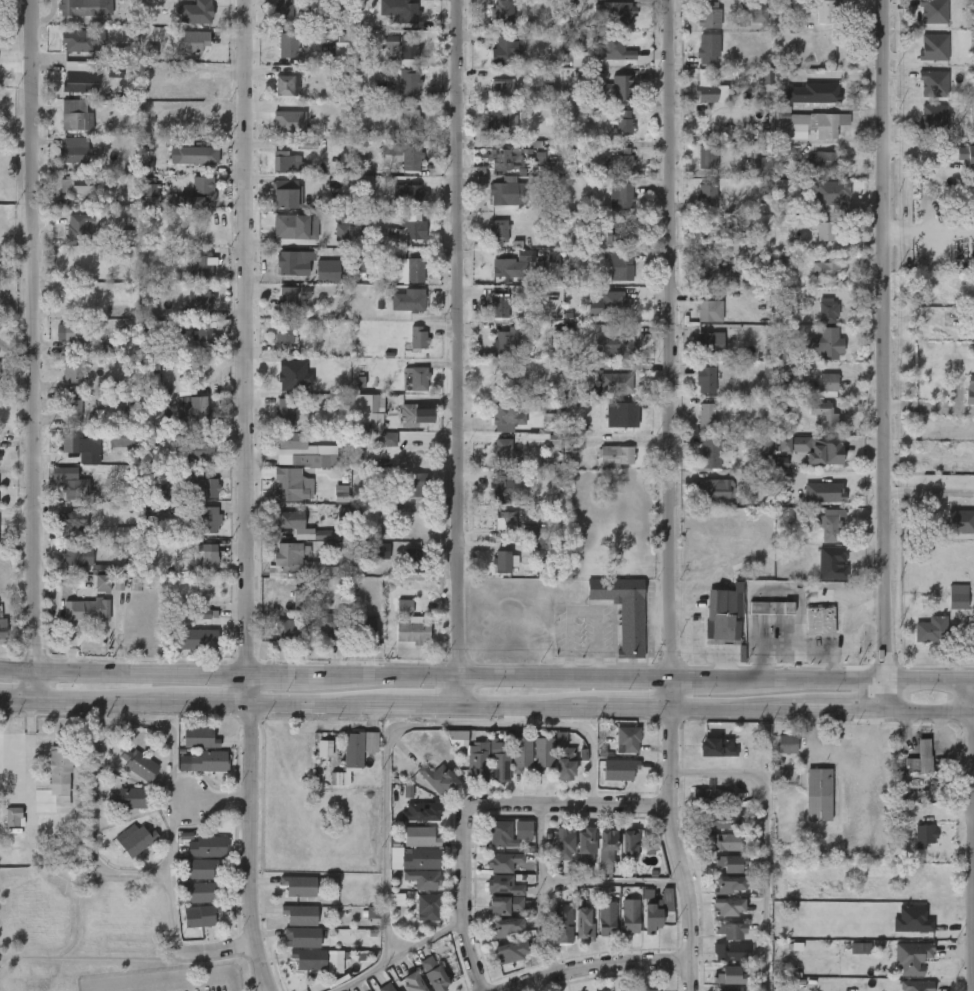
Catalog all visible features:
building: (78, 8)
building: (284, 9)
building: (402, 10)
building: (616, 11)
building: (824, 11)
building: (936, 11)
building: (760, 12)
building: (500, 13)
building: (706, 15)
building: (342, 37)
building: (80, 40)
building: (191, 41)
building: (390, 41)
building: (287, 46)
building: (617, 47)
building: (707, 47)
building: (936, 47)
building: (150, 50)
building: (406, 51)
building: (503, 51)
building: (340, 52)
building: (120, 54)
building: (80, 82)
building: (935, 83)
building: (201, 84)
building: (288, 85)
building: (407, 85)
building: (623, 85)
building: (500, 88)
building: (709, 90)
building: (766, 90)
building: (812, 94)
building: (74, 114)
building: (936, 118)
building: (409, 121)
building: (289, 122)
building: (500, 124)
building: (624, 124)
building: (812, 125)
building: (307, 145)
building: (403, 153)
building: (73, 154)
building: (195, 156)
building: (966, 156)
building: (504, 157)
building: (706, 157)
building: (761, 159)
building: (624, 160)
building: (826, 160)
building: (282, 161)
building: (360, 182)
building: (83, 190)
building: (506, 191)
building: (149, 192)
building: (283, 193)
building: (830, 193)
building: (404, 194)
building: (197, 195)
building: (623, 196)
building: (707, 197)
building: (78, 227)
building: (286, 227)
building: (580, 227)
building: (411, 230)
building: (498, 230)
building: (826, 231)
road: (928, 232)
building: (341, 234)
building: (616, 235)
building: (127, 237)
building: (82, 256)
building: (525, 256)
building: (291, 265)
building: (201, 266)
building: (502, 266)
building: (622, 267)
building: (415, 270)
building: (826, 270)
building: (328, 271)
building: (714, 272)
building: (285, 299)
building: (406, 300)
building: (197, 302)
building: (613, 303)
building: (499, 305)
building: (703, 309)
building: (828, 310)
building: (80, 332)
building: (285, 333)
building: (204, 334)
building: (415, 337)
road: (251, 338)
road: (881, 339)
road: (672, 340)
building: (509, 341)
building: (704, 342)
building: (823, 344)
building: (615, 347)
road: (37, 354)
road: (462, 357)
building: (77, 369)
building: (791, 369)
building: (294, 376)
building: (702, 378)
building: (414, 379)
building: (829, 382)
building: (621, 383)
building: (970, 392)
building: (202, 406)
road: (927, 409)
building: (74, 410)
building: (285, 413)
building: (626, 413)
building: (416, 416)
building: (707, 416)
building: (504, 417)
building: (554, 418)
building: (367, 421)
building: (830, 422)
building: (154, 437)
building: (121, 438)
building: (387, 440)
building: (542, 440)
building: (287, 441)
building: (82, 443)
building: (815, 449)
building: (201, 451)
building: (503, 452)
building: (713, 452)
building: (764, 452)
building: (417, 454)
building: (616, 457)
building: (310, 462)
building: (414, 485)
building: (286, 488)
building: (77, 489)
building: (503, 489)
building: (716, 489)
building: (201, 492)
building: (167, 493)
building: (823, 493)
road: (927, 493)
building: (340, 494)
building: (77, 519)
building: (207, 519)
building: (287, 520)
building: (506, 520)
building: (831, 523)
building: (197, 532)
building: (277, 533)
building: (493, 533)
building: (63, 534)
building: (951, 536)
building: (818, 538)
building: (517, 546)
building: (311, 548)
building: (79, 557)
building: (289, 557)
building: (209, 558)
building: (412, 561)
building: (369, 564)
building: (65, 569)
building: (196, 570)
building: (277, 570)
building: (402, 574)
building: (493, 574)
building: (819, 576)
building: (90, 596)
building: (819, 596)
building: (959, 597)
building: (768, 607)
building: (945, 607)
building: (808, 609)
building: (96, 610)
building: (624, 611)
building: (391, 620)
building: (758, 621)
building: (818, 621)
building: (74, 623)
building: (721, 623)
building: (611, 624)
building: (325, 625)
building: (359, 626)
building: (3, 627)
building: (190, 627)
building: (932, 630)
building: (287, 631)
building: (414, 632)
building: (807, 635)
building: (196, 639)
building: (314, 639)
building: (274, 642)
building: (919, 643)
building: (401, 645)
building: (186, 652)
road: (125, 674)
road: (274, 677)
road: (479, 677)
road: (797, 679)
road: (687, 680)
road: (924, 680)
road: (971, 681)
road: (250, 694)
road: (881, 697)
road: (660, 698)
road: (968, 699)
road: (18, 705)
road: (97, 708)
road: (204, 710)
road: (313, 711)
road: (418, 713)
road: (520, 714)
road: (621, 715)
road: (971, 715)
road: (771, 716)
road: (925, 716)
road: (416, 726)
road: (33, 728)
building: (199, 737)
building: (626, 739)
building: (787, 743)
building: (355, 748)
building: (714, 748)
building: (188, 751)
road: (840, 751)
building: (614, 752)
building: (521, 753)
building: (543, 753)
building: (564, 757)
building: (773, 757)
building: (921, 758)
building: (210, 760)
building: (311, 761)
building: (476, 761)
building: (704, 761)
building: (497, 762)
building: (140, 764)
building: (57, 767)
building: (508, 767)
building: (529, 767)
building: (342, 768)
building: (620, 769)
building: (551, 772)
building: (907, 772)
building: (196, 774)
building: (486, 774)
building: (465, 775)
building: (125, 776)
building: (436, 778)
building: (47, 779)
building: (607, 782)
building: (768, 787)
road: (161, 788)
building: (426, 792)
building: (819, 794)
building: (128, 797)
building: (709, 797)
road: (861, 798)
road: (218, 801)
building: (806, 807)
building: (693, 809)
building: (414, 810)
building: (115, 811)
building: (49, 814)
road: (469, 814)
building: (720, 819)
building: (407, 825)
building: (923, 831)
building: (500, 832)
building: (710, 833)
road: (970, 835)
building: (417, 837)
building: (135, 839)
building: (724, 841)
building: (510, 843)
building: (559, 844)
building: (583, 845)
building: (626, 845)
road: (753, 845)
building: (208, 846)
building: (605, 846)
building: (488, 847)
building: (911, 848)
building: (407, 849)
building: (122, 852)
road: (253, 852)
road: (666, 853)
building: (710, 855)
building: (551, 856)
building: (617, 858)
building: (415, 859)
building: (573, 860)
building: (594, 860)
building: (504, 861)
building: (727, 864)
building: (199, 868)
building: (406, 871)
building: (490, 874)
building: (719, 876)
building: (420, 879)
road: (87, 882)
building: (188, 882)
building: (726, 884)
building: (504, 885)
building: (296, 886)
building: (200, 891)
building: (410, 892)
road: (601, 895)
building: (716, 897)
building: (286, 898)
building: (490, 899)
road: (528, 902)
building: (505, 904)
building: (187, 905)
building: (426, 907)
building: (723, 907)
building: (200, 915)
building: (297, 916)
building: (604, 917)
building: (628, 917)
building: (649, 917)
building: (491, 918)
road: (973, 918)
building: (715, 919)
building: (415, 920)
building: (561, 924)
building: (580, 925)
building: (188, 928)
building: (288, 928)
building: (502, 928)
building: (617, 929)
building: (639, 929)
building: (594, 931)
building: (727, 931)
building: (899, 933)
building: (550, 936)
building: (301, 937)
building: (571, 937)
building: (494, 940)
building: (717, 944)
road: (229, 949)
building: (289, 950)
building: (512, 951)
building: (729, 952)
building: (910, 958)
building: (305, 959)
road: (390, 959)
building: (847, 961)
building: (332, 963)
building: (498, 964)
building: (717, 964)
building: (899, 970)
building: (297, 972)
building: (322, 974)
building: (432, 975)
road: (598, 975)
building: (728, 976)
building: (418, 980)
building: (408, 983)
building: (915, 985)
building: (384, 987)
building: (646, 989)
building: (727, 989)
building: (603, 990)

